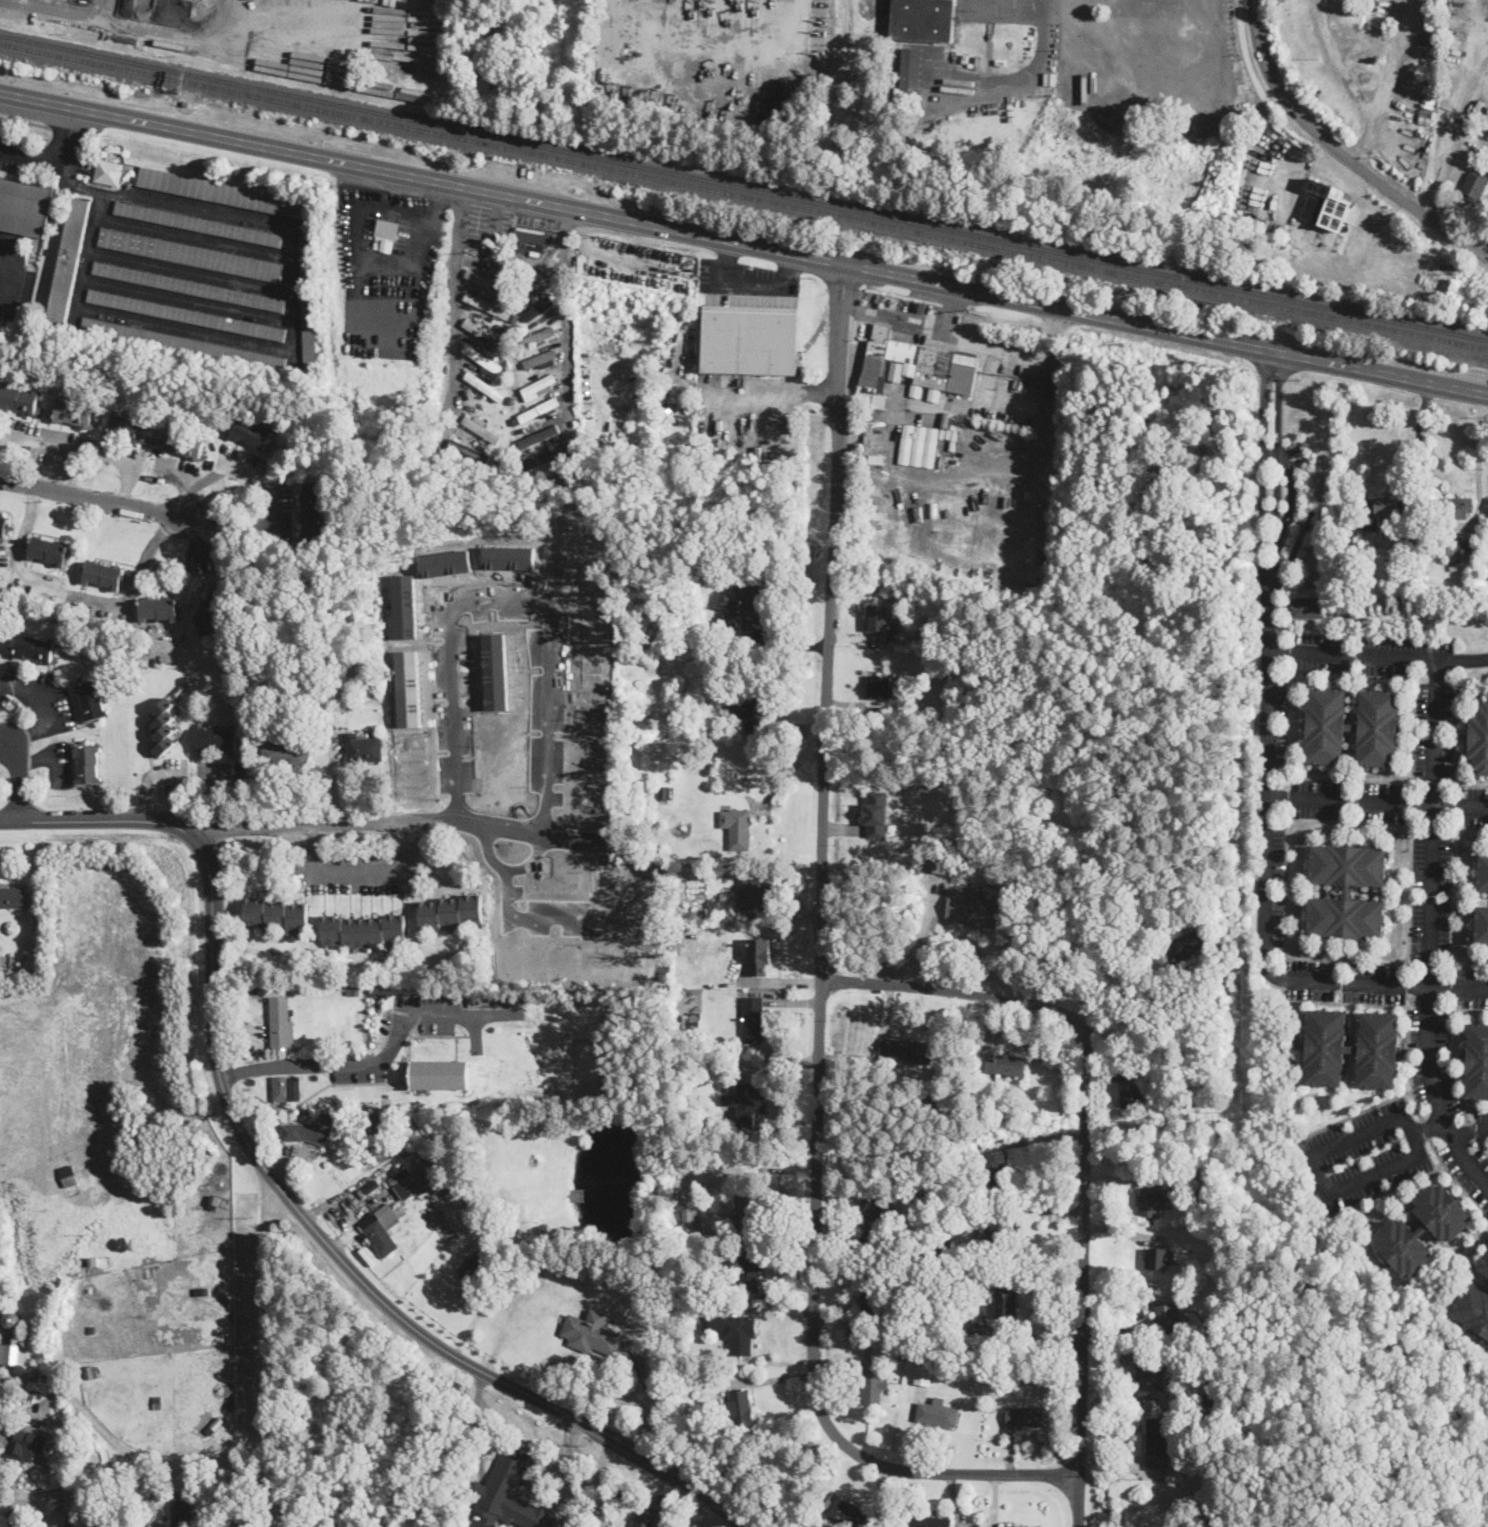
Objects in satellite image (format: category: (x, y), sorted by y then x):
building: (82, 2)
road: (102, 9)
road: (92, 17)
building: (922, 20)
road: (1127, 22)
road: (220, 31)
road: (1071, 31)
parking lot: (1148, 52)
building: (1432, 54)
road: (1154, 58)
road: (1397, 60)
road: (1337, 63)
building: (910, 76)
road: (1019, 76)
building: (1424, 76)
building: (1431, 96)
road: (1456, 108)
building: (1425, 118)
road: (25, 123)
road: (1363, 138)
road: (69, 139)
road: (1340, 150)
parking lot: (8, 151)
road: (32, 159)
building: (108, 172)
building: (1474, 185)
railway: (744, 186)
building: (224, 193)
railway: (744, 195)
building: (24, 207)
building: (1328, 208)
building: (198, 223)
building: (388, 228)
building: (528, 238)
road: (744, 245)
building: (190, 255)
building: (515, 257)
road: (1332, 257)
building: (69, 260)
road: (8, 262)
road: (367, 263)
building: (502, 264)
road: (542, 270)
parking lot: (386, 271)
parking lot: (12, 272)
building: (479, 276)
parking lot: (746, 284)
road: (749, 284)
building: (188, 286)
road: (455, 294)
road: (5, 299)
building: (308, 303)
building: (480, 304)
road: (564, 304)
building: (539, 308)
road: (950, 310)
building: (1476, 311)
building: (186, 315)
building: (514, 317)
building: (499, 328)
building: (479, 329)
building: (543, 332)
building: (749, 340)
road: (970, 340)
building: (185, 344)
building: (517, 357)
building: (546, 357)
building: (488, 359)
building: (916, 365)
building: (545, 383)
building: (484, 387)
road: (775, 392)
building: (933, 394)
building: (870, 395)
building: (18, 399)
building: (523, 404)
building: (541, 409)
building: (73, 412)
building: (944, 420)
building: (952, 423)
building: (128, 427)
building: (480, 431)
building: (251, 432)
building: (542, 434)
building: (185, 444)
building: (917, 445)
road: (58, 446)
road: (1419, 447)
building: (437, 450)
building: (469, 450)
building: (542, 453)
building: (501, 454)
building: (446, 458)
road: (1479, 459)
road: (116, 460)
road: (3, 462)
building: (516, 463)
building: (551, 471)
building: (1176, 472)
road: (273, 492)
building: (1175, 498)
road: (89, 499)
building: (1452, 507)
building: (1382, 510)
building: (313, 513)
building: (3, 525)
building: (668, 535)
building: (1454, 550)
building: (48, 551)
building: (1486, 571)
building: (104, 575)
road: (78, 596)
building: (677, 596)
building: (748, 602)
building: (1307, 606)
building: (214, 607)
building: (159, 609)
building: (685, 609)
building: (719, 626)
building: (880, 626)
building: (35, 648)
building: (295, 649)
building: (632, 653)
road: (1379, 655)
road: (450, 663)
building: (368, 669)
building: (258, 672)
building: (332, 672)
road: (548, 682)
building: (884, 686)
building: (249, 693)
building: (7, 698)
building: (92, 700)
building: (752, 708)
road: (43, 713)
building: (1351, 726)
building: (164, 727)
building: (689, 731)
building: (378, 734)
building: (1479, 737)
building: (217, 740)
building: (360, 748)
building: (284, 753)
road: (1454, 754)
building: (88, 764)
road: (1270, 772)
road: (147, 777)
road: (20, 780)
building: (664, 793)
road: (1379, 802)
building: (877, 813)
road: (394, 822)
road: (1404, 823)
building: (737, 828)
building: (1003, 862)
building: (935, 863)
building: (1483, 872)
road: (357, 874)
road: (228, 879)
building: (755, 891)
building: (1347, 891)
building: (12, 897)
road: (1451, 897)
building: (973, 908)
building: (451, 911)
building: (275, 914)
road: (547, 916)
building: (1150, 923)
building: (1481, 924)
road: (1429, 928)
building: (364, 930)
building: (1187, 946)
building: (760, 955)
building: (3, 959)
building: (11, 962)
road: (819, 979)
road: (1284, 980)
building: (354, 990)
road: (949, 990)
building: (378, 1003)
road: (1398, 1005)
road: (1135, 1017)
building: (753, 1020)
building: (281, 1022)
building: (694, 1024)
building: (1353, 1048)
building: (904, 1051)
road: (1448, 1051)
road: (380, 1056)
building: (1477, 1060)
building: (1005, 1065)
building: (440, 1074)
building: (282, 1085)
building: (1137, 1097)
building: (935, 1098)
building: (746, 1105)
building: (983, 1108)
road: (1354, 1114)
road: (1466, 1114)
building: (327, 1117)
building: (388, 1126)
road: (1425, 1129)
road: (1473, 1129)
road: (1470, 1132)
building: (306, 1133)
road: (1482, 1144)
road: (1310, 1159)
building: (996, 1168)
building: (421, 1176)
road: (1455, 1178)
road: (1385, 1191)
road: (282, 1192)
building: (214, 1199)
building: (1150, 1202)
building: (750, 1213)
building: (1202, 1218)
building: (876, 1219)
building: (690, 1225)
building: (384, 1228)
building: (543, 1228)
building: (1424, 1229)
building: (517, 1233)
building: (995, 1235)
building: (1158, 1259)
building: (92, 1261)
building: (475, 1265)
building: (1485, 1265)
building: (748, 1270)
road: (1083, 1271)
building: (205, 1290)
building: (938, 1291)
building: (873, 1304)
building: (1004, 1304)
road: (516, 1305)
building: (694, 1309)
building: (1474, 1309)
building: (1, 1317)
building: (1167, 1318)
building: (13, 1320)
building: (963, 1326)
building: (91, 1329)
building: (733, 1331)
building: (652, 1333)
building: (592, 1334)
building: (1213, 1342)
building: (902, 1348)
building: (936, 1352)
building: (945, 1352)
building: (14, 1354)
building: (916, 1355)
building: (923, 1358)
building: (900, 1359)
building: (92, 1371)
building: (663, 1372)
building: (675, 1373)
building: (923, 1376)
building: (1031, 1377)
building: (1146, 1379)
building: (872, 1385)
building: (28, 1395)
building: (157, 1398)
road: (650, 1398)
building: (1205, 1401)
road: (80, 1406)
building: (740, 1408)
building: (937, 1413)
building: (1025, 1417)
building: (215, 1424)
building: (1160, 1441)
building: (27, 1445)
road: (254, 1445)
building: (338, 1455)
building: (388, 1459)
road: (570, 1471)
road: (601, 1480)
building: (508, 1495)
building: (844, 1512)
building: (182, 1514)
building: (646, 1517)
building: (1206, 1519)
building: (928, 1521)
building: (1020, 1526)

